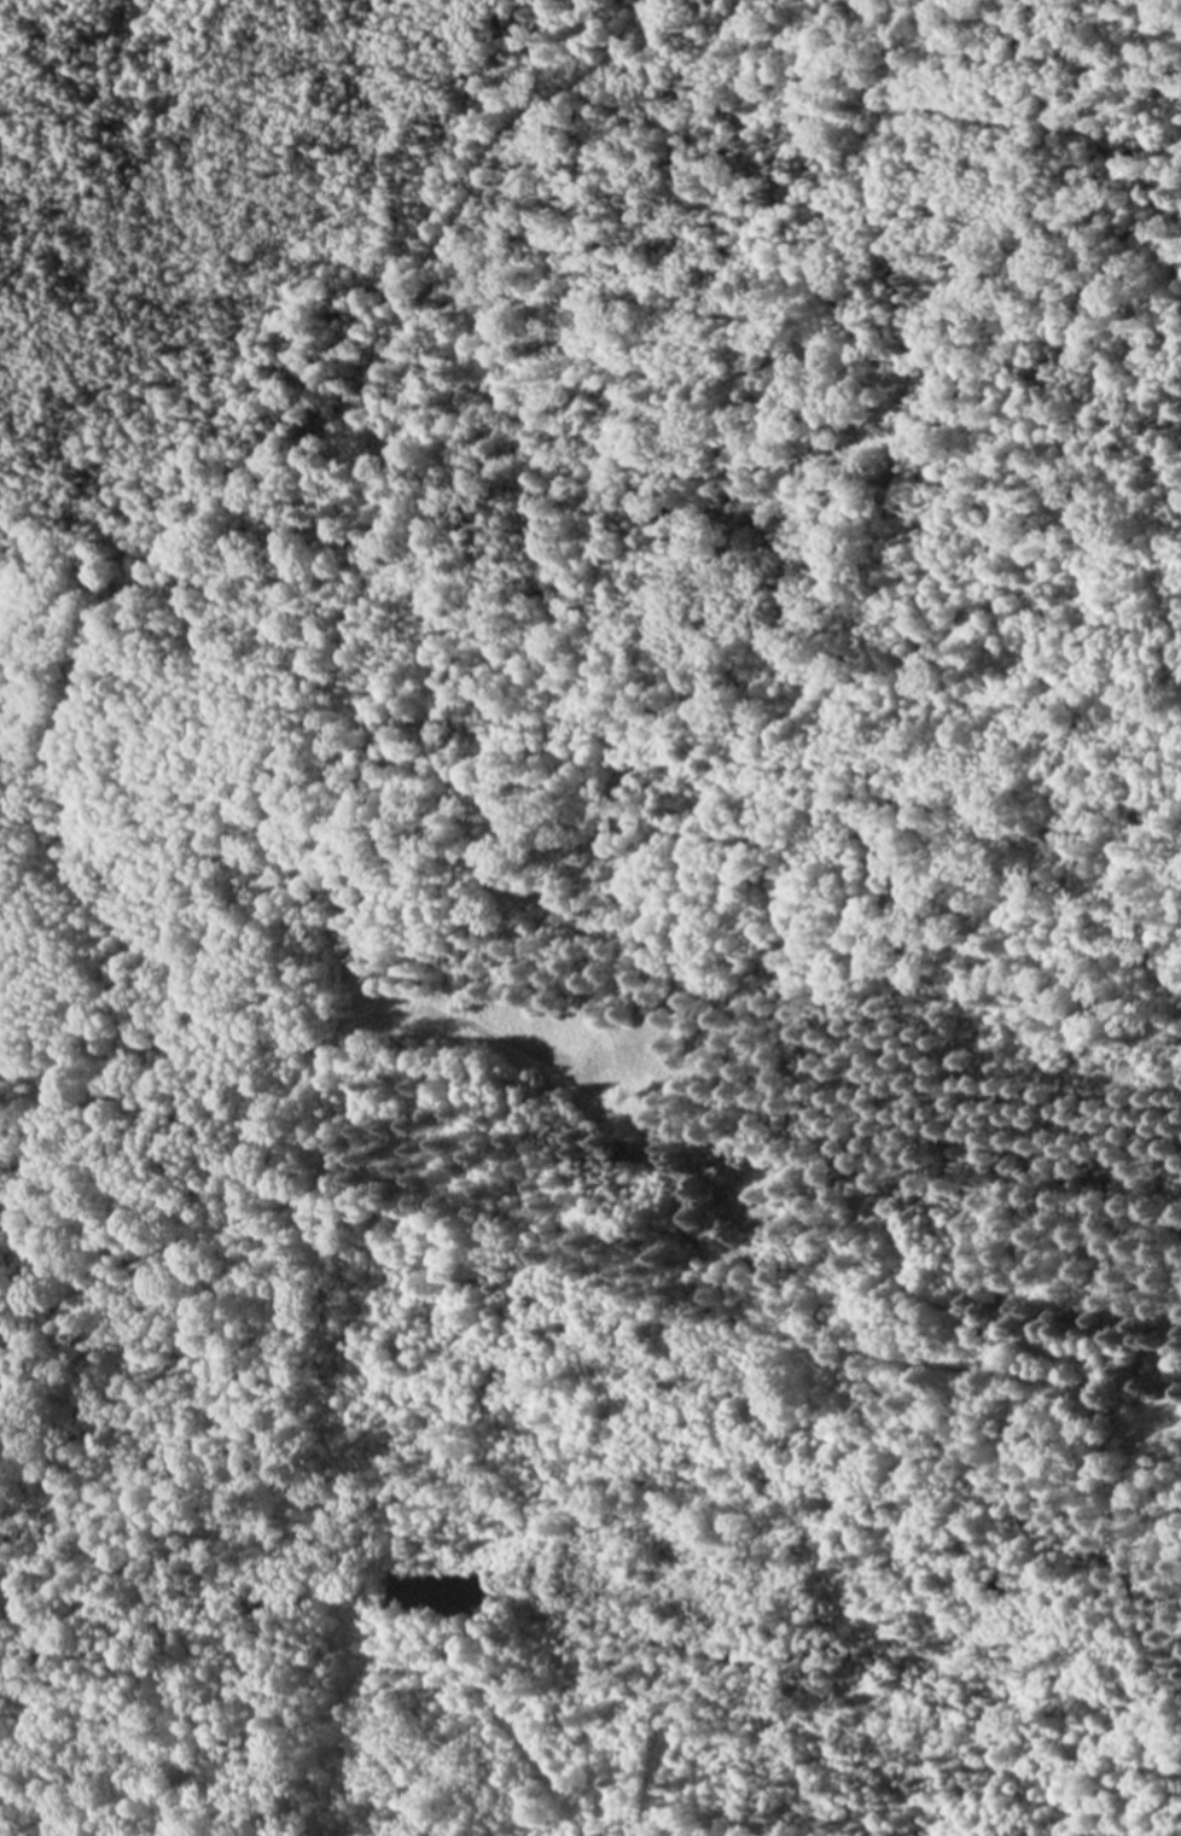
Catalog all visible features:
road: (326, 360)
road: (820, 1325)

